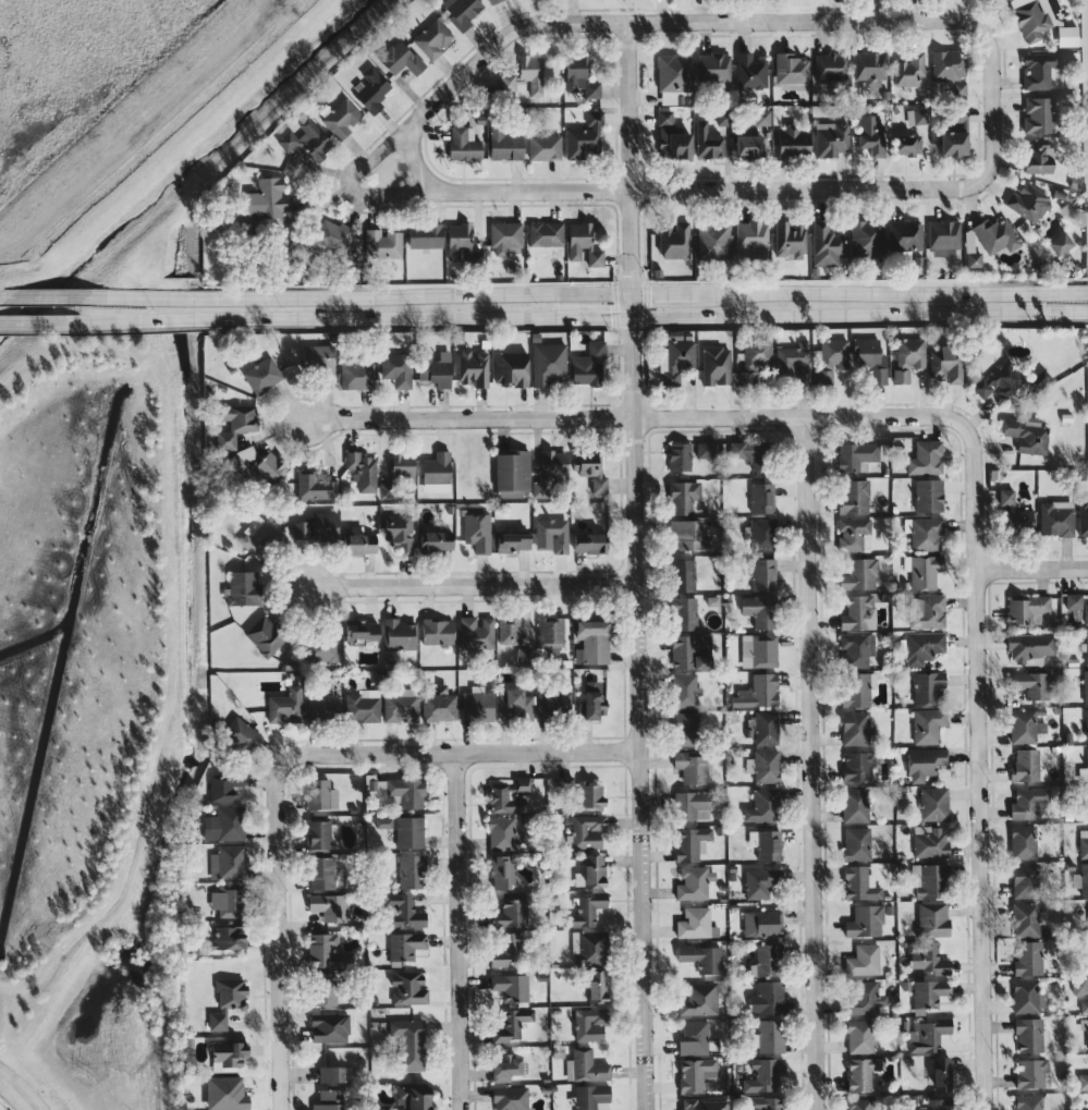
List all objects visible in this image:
building: (493, 1)
building: (461, 10)
road: (636, 11)
building: (1032, 17)
road: (664, 23)
building: (1067, 36)
building: (432, 38)
building: (400, 58)
building: (949, 63)
building: (713, 66)
building: (831, 66)
building: (869, 68)
building: (909, 69)
building: (1039, 70)
building: (749, 71)
building: (792, 71)
building: (530, 73)
building: (580, 76)
building: (673, 77)
building: (508, 82)
building: (958, 87)
building: (372, 89)
building: (1039, 114)
building: (921, 115)
building: (664, 117)
building: (762, 117)
building: (341, 118)
building: (723, 118)
building: (954, 133)
building: (871, 134)
building: (585, 136)
building: (831, 138)
building: (307, 139)
building: (708, 141)
building: (673, 142)
building: (792, 142)
building: (464, 143)
building: (504, 144)
building: (907, 144)
building: (545, 146)
building: (748, 146)
building: (1039, 157)
road: (415, 164)
road: (709, 190)
building: (267, 199)
building: (1029, 202)
building: (546, 233)
building: (425, 235)
building: (906, 235)
building: (995, 235)
building: (505, 237)
building: (867, 237)
building: (944, 237)
building: (789, 239)
building: (674, 240)
building: (713, 240)
building: (751, 241)
building: (382, 243)
building: (461, 243)
building: (583, 244)
building: (826, 244)
building: (1061, 244)
building: (974, 259)
road: (597, 293)
road: (53, 296)
road: (586, 319)
road: (42, 322)
building: (679, 355)
building: (318, 358)
building: (754, 358)
building: (831, 358)
building: (907, 358)
building: (870, 359)
building: (548, 363)
building: (794, 363)
building: (946, 364)
building: (588, 365)
building: (716, 365)
building: (436, 367)
building: (473, 367)
building: (396, 368)
building: (510, 368)
building: (262, 375)
building: (356, 375)
building: (999, 381)
road: (635, 417)
building: (233, 424)
building: (1027, 434)
building: (706, 449)
building: (750, 453)
building: (856, 455)
building: (679, 456)
building: (926, 458)
building: (258, 464)
building: (550, 469)
building: (362, 471)
building: (437, 472)
building: (512, 473)
building: (592, 473)
building: (399, 475)
building: (314, 486)
building: (928, 495)
building: (683, 496)
building: (854, 496)
building: (761, 498)
building: (1015, 513)
building: (1055, 517)
building: (1083, 519)
building: (317, 527)
building: (399, 532)
building: (477, 532)
building: (685, 533)
building: (926, 533)
building: (552, 534)
building: (762, 534)
building: (854, 534)
building: (260, 539)
building: (436, 540)
building: (512, 542)
building: (590, 542)
building: (362, 544)
road: (635, 566)
road: (1031, 568)
building: (924, 570)
building: (761, 573)
building: (859, 574)
building: (684, 575)
road: (476, 585)
building: (242, 588)
building: (1074, 606)
building: (1027, 608)
building: (760, 610)
building: (927, 611)
building: (858, 612)
building: (685, 613)
building: (1085, 613)
building: (509, 629)
building: (551, 630)
building: (360, 631)
building: (438, 631)
building: (476, 632)
building: (401, 634)
building: (265, 635)
building: (594, 641)
building: (922, 646)
building: (1029, 647)
building: (1086, 647)
building: (320, 648)
building: (856, 649)
building: (759, 650)
building: (690, 651)
building: (524, 655)
building: (1030, 684)
building: (928, 686)
building: (1085, 686)
building: (856, 688)
building: (685, 690)
building: (758, 691)
building: (594, 698)
building: (553, 702)
building: (438, 703)
building: (477, 704)
building: (362, 705)
building: (516, 705)
building: (286, 706)
building: (401, 706)
building: (323, 707)
building: (1086, 723)
building: (928, 724)
building: (1025, 725)
building: (766, 727)
building: (855, 728)
building: (686, 729)
building: (240, 734)
road: (460, 752)
building: (925, 763)
building: (1087, 763)
road: (810, 764)
building: (1026, 765)
building: (765, 766)
building: (857, 766)
building: (692, 767)
road: (977, 767)
building: (563, 782)
building: (227, 785)
building: (1087, 788)
building: (395, 791)
building: (318, 794)
building: (508, 795)
building: (590, 795)
building: (933, 803)
building: (1028, 803)
building: (855, 804)
building: (693, 805)
building: (763, 806)
building: (224, 824)
building: (587, 830)
building: (318, 832)
building: (409, 832)
building: (503, 832)
building: (930, 841)
building: (1024, 841)
building: (690, 843)
building: (766, 843)
building: (857, 843)
building: (1084, 843)
building: (228, 862)
building: (411, 870)
building: (501, 871)
building: (591, 871)
building: (321, 873)
building: (1084, 879)
building: (1025, 880)
building: (932, 881)
building: (695, 882)
building: (760, 882)
building: (859, 883)
building: (227, 900)
building: (329, 906)
building: (586, 910)
building: (402, 911)
building: (511, 913)
building: (932, 918)
building: (1026, 918)
building: (865, 920)
building: (696, 923)
building: (762, 923)
road: (455, 931)
road: (277, 932)
building: (229, 937)
building: (1087, 941)
building: (405, 944)
building: (591, 948)
building: (506, 950)
building: (326, 951)
building: (930, 956)
building: (701, 957)
building: (1028, 957)
building: (767, 960)
building: (864, 960)
building: (327, 983)
building: (1080, 985)
building: (511, 986)
building: (598, 986)
building: (408, 988)
building: (928, 993)
building: (866, 996)
building: (1028, 996)
building: (768, 998)
building: (699, 999)
building: (227, 1001)
building: (1085, 1004)
building: (511, 1024)
building: (589, 1024)
building: (329, 1027)
building: (1087, 1032)
building: (927, 1034)
building: (1030, 1035)
building: (770, 1036)
building: (859, 1036)
building: (694, 1037)
building: (409, 1042)
building: (228, 1054)
building: (586, 1066)
building: (504, 1068)
building: (863, 1072)
building: (331, 1073)
building: (695, 1073)
building: (941, 1073)
building: (1032, 1073)
building: (765, 1074)
building: (1083, 1081)
road: (16, 1091)
building: (225, 1093)
building: (329, 1095)
building: (590, 1096)
building: (408, 1098)
building: (511, 1098)
building: (765, 1102)
building: (1032, 1102)
building: (938, 1103)
building: (704, 1105)
building: (327, 1106)
building: (921, 1107)

